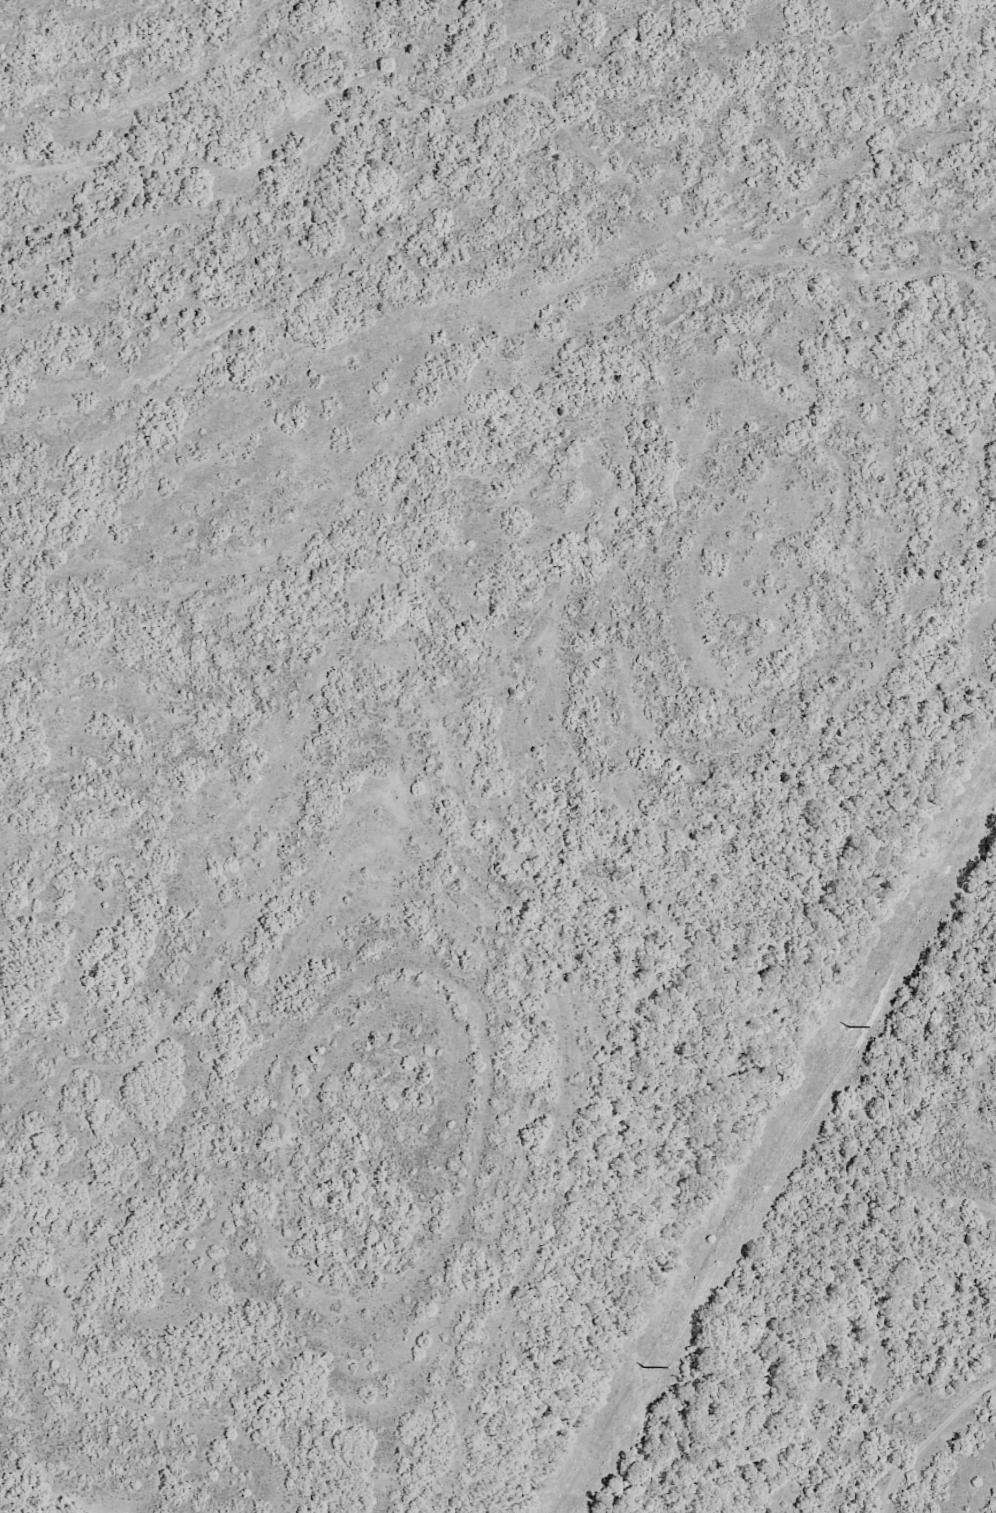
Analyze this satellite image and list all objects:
road: (448, 44)
road: (505, 113)
power tower: (845, 1024)
power tower: (641, 1364)
road: (948, 1463)

